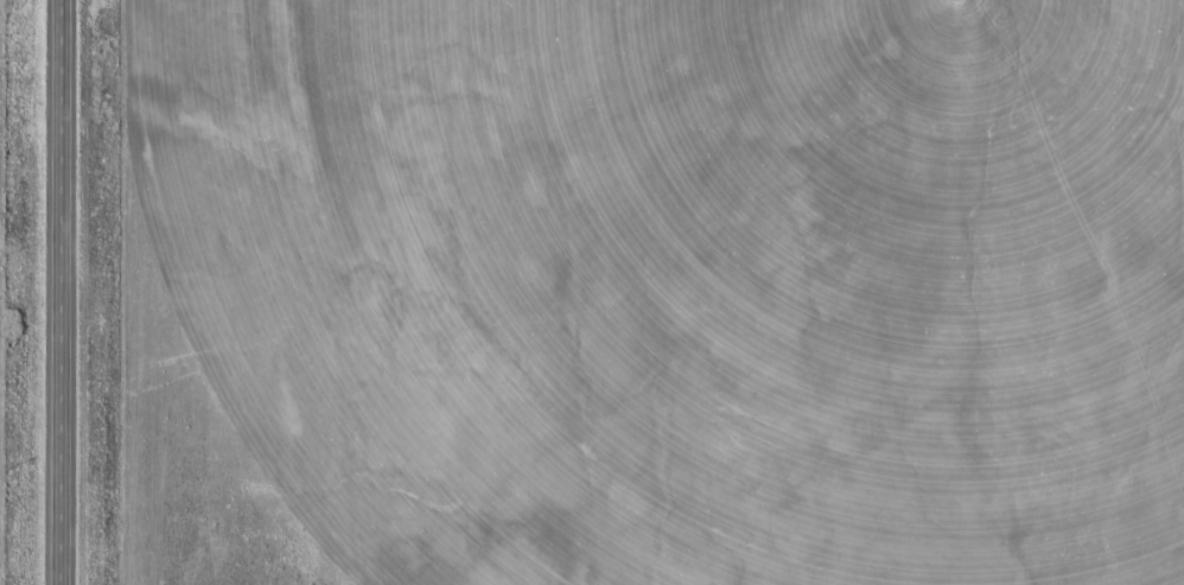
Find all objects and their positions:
road: (57, 292)

